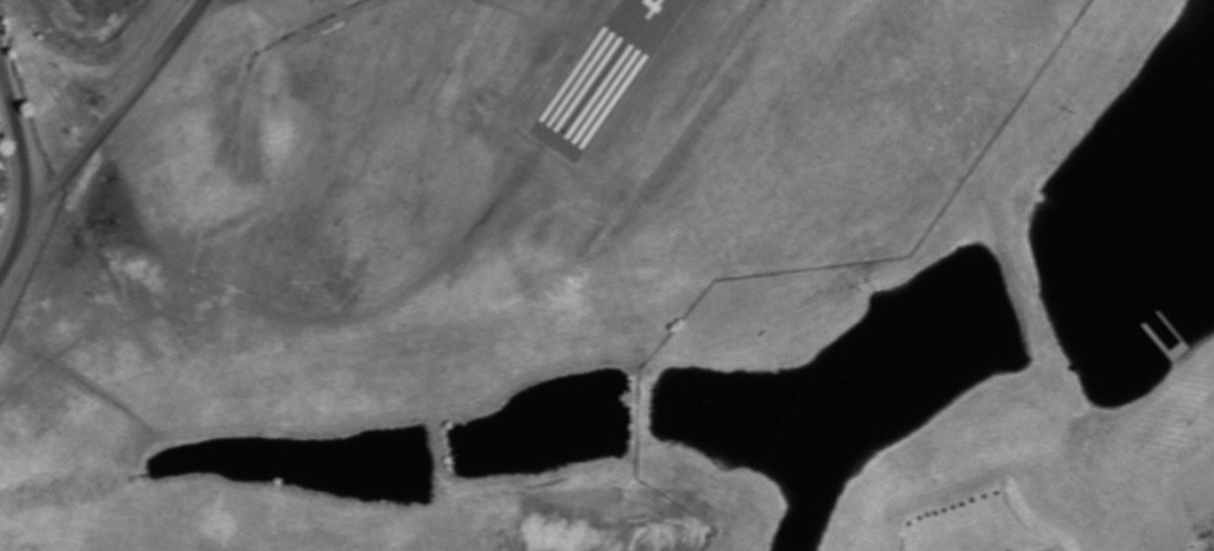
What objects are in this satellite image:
airport runway: (602, 72)
road: (118, 111)
road: (25, 170)
airport: (443, 246)

